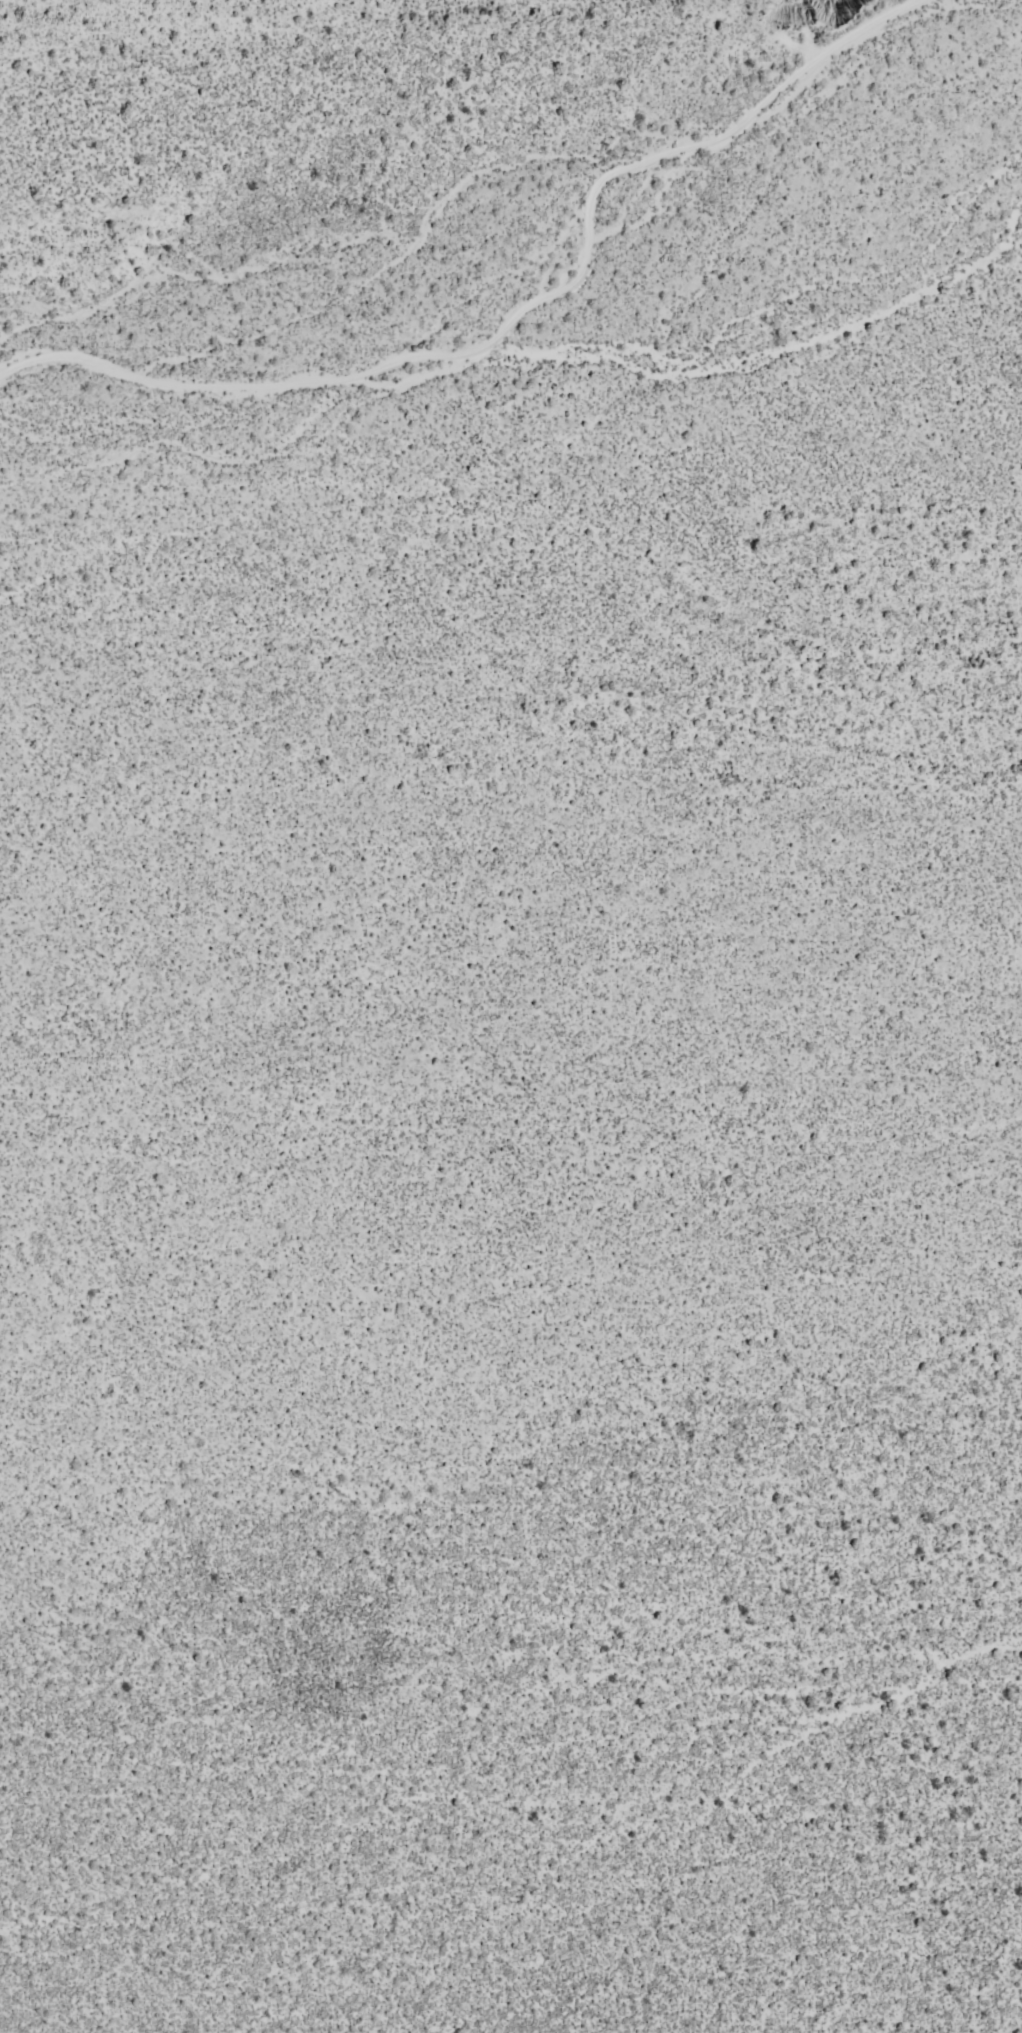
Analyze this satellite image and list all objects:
road: (514, 312)

